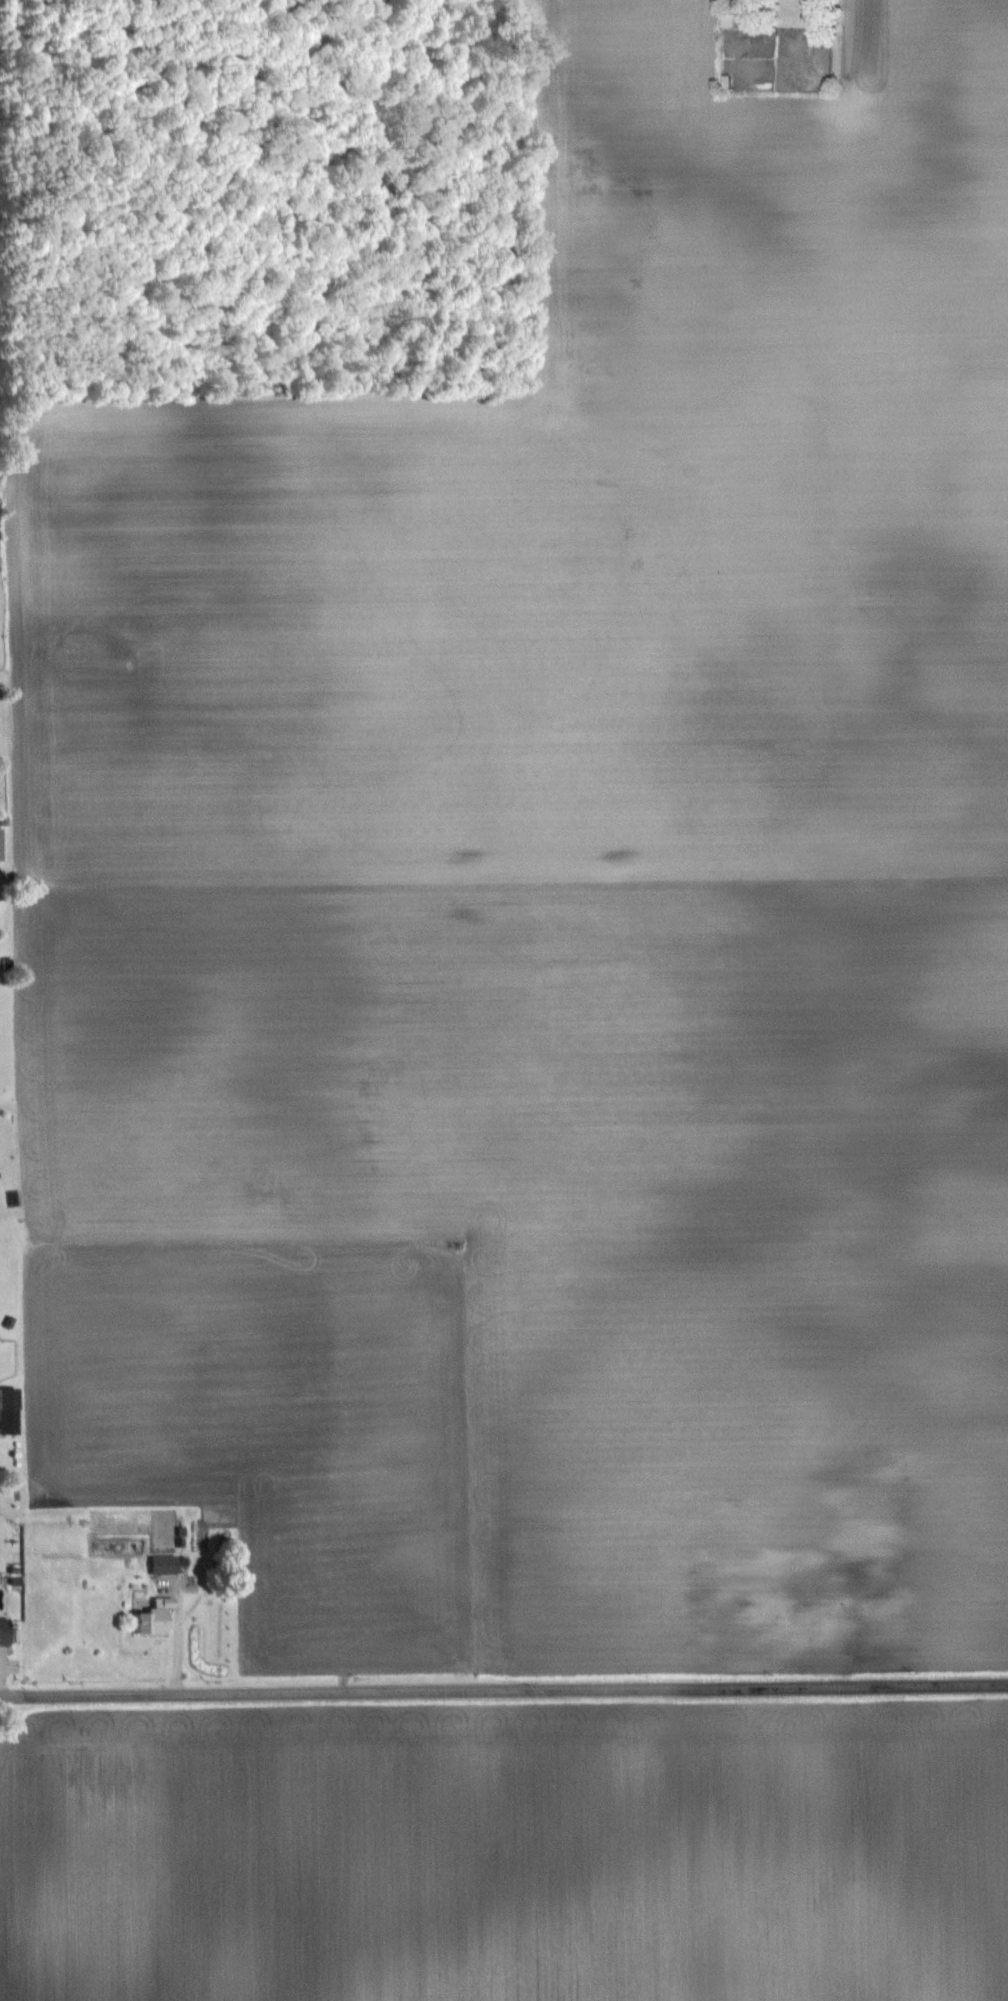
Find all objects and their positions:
building: (727, 20)
building: (117, 1546)
building: (162, 1565)
building: (152, 1616)
building: (3, 1631)
road: (529, 1691)
road: (25, 1697)

